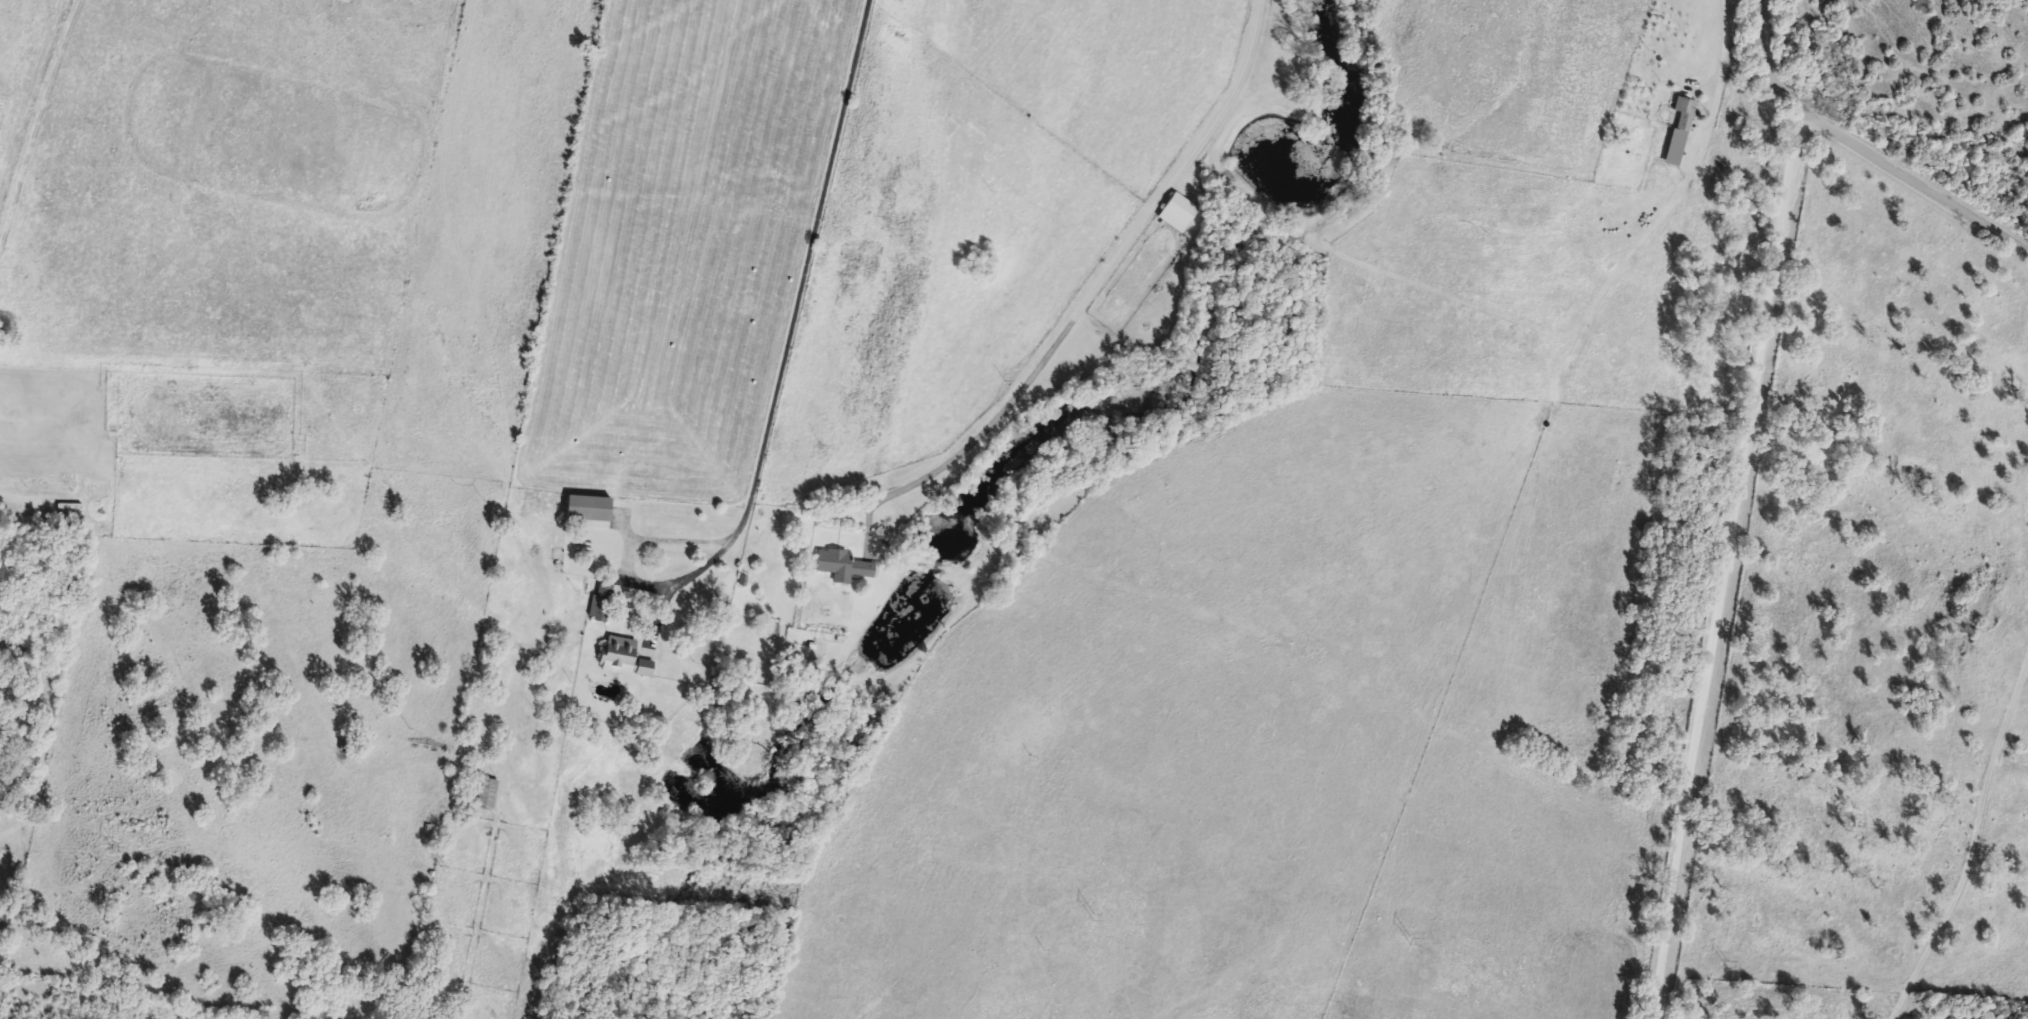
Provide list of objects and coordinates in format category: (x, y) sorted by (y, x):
road: (1721, 41)
building: (1677, 132)
road: (1860, 151)
building: (1174, 213)
road: (805, 269)
road: (1109, 272)
building: (583, 510)
road: (693, 540)
building: (838, 566)
road: (1724, 567)
building: (599, 602)
building: (766, 631)
building: (614, 655)
building: (639, 668)
road: (2018, 715)
building: (483, 794)
road: (1972, 846)
power tower: (113, 853)
power tower: (439, 878)
power tower: (786, 908)
power tower: (1092, 928)
power tower: (1410, 949)
power tower: (1691, 967)

